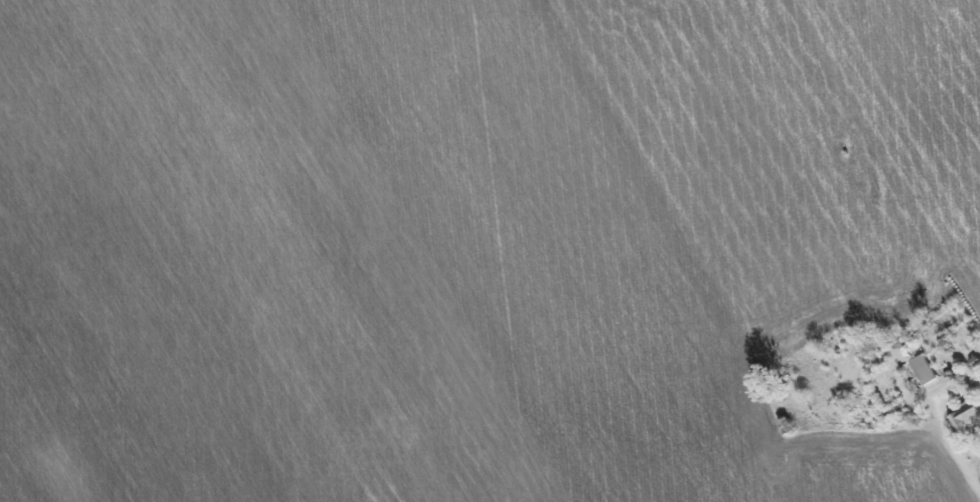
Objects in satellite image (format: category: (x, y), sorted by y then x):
road: (959, 453)

